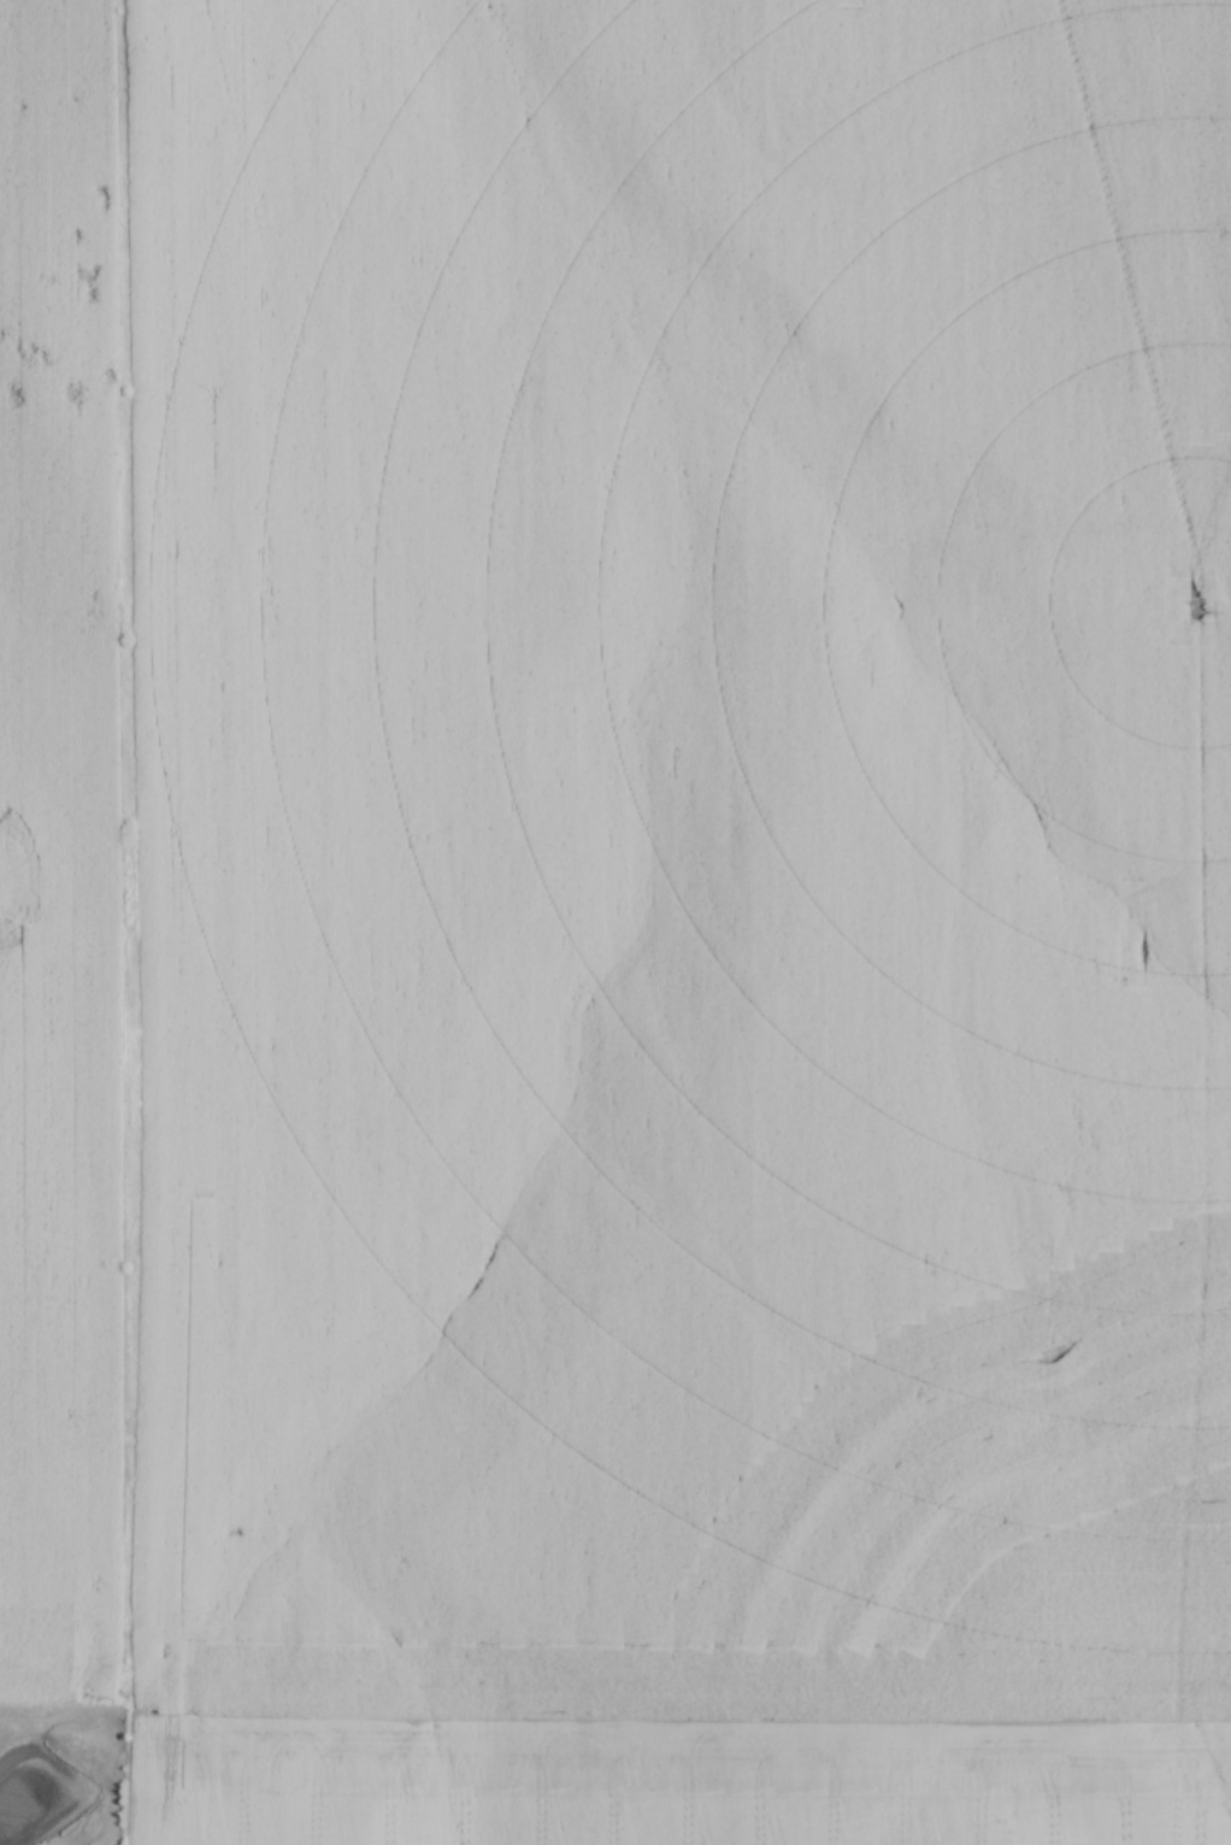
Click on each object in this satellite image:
building: (1008, 153)

